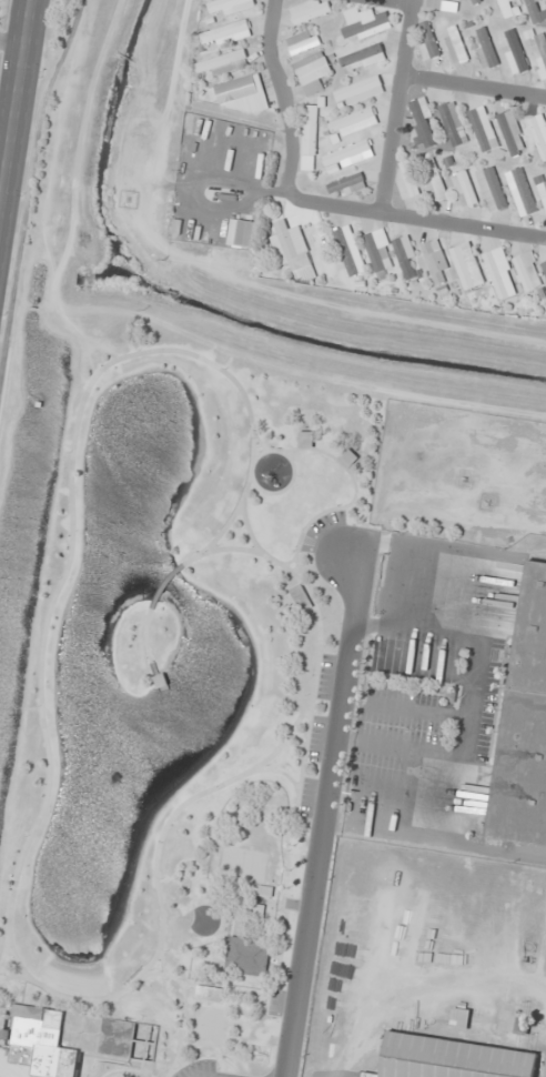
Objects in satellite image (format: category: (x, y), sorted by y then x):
building: (476, 1)
road: (396, 2)
building: (439, 4)
building: (230, 7)
building: (508, 8)
building: (309, 11)
building: (534, 11)
building: (365, 24)
building: (226, 34)
building: (428, 40)
road: (12, 42)
building: (302, 42)
building: (455, 46)
building: (485, 48)
building: (542, 52)
building: (516, 54)
building: (362, 59)
building: (223, 64)
building: (312, 73)
road: (473, 91)
road: (283, 92)
building: (358, 92)
building: (239, 95)
road: (395, 107)
road: (14, 108)
building: (353, 123)
building: (422, 123)
building: (453, 124)
building: (483, 130)
building: (510, 133)
building: (539, 135)
building: (310, 138)
building: (347, 155)
road: (28, 180)
building: (406, 180)
building: (433, 182)
building: (347, 184)
building: (464, 189)
building: (492, 190)
building: (542, 191)
building: (520, 192)
road: (413, 219)
building: (245, 234)
building: (293, 251)
building: (350, 251)
building: (378, 251)
building: (434, 261)
building: (466, 266)
building: (528, 272)
building: (501, 274)
road: (251, 429)
building: (305, 440)
road: (256, 455)
building: (347, 459)
road: (353, 487)
road: (282, 489)
road: (223, 527)
road: (220, 550)
road: (162, 583)
building: (301, 598)
road: (144, 642)
park: (163, 688)
building: (524, 725)
road: (273, 771)
road: (323, 821)
road: (284, 859)
road: (193, 863)
park: (240, 864)
road: (239, 882)
building: (265, 892)
building: (252, 918)
building: (401, 940)
building: (245, 956)
road: (14, 960)
road: (160, 963)
road: (222, 989)
road: (183, 1009)
building: (459, 1019)
park: (210, 1028)
building: (70, 1038)
building: (451, 1059)
road: (176, 1061)
road: (186, 1061)
parking lot: (200, 1070)

